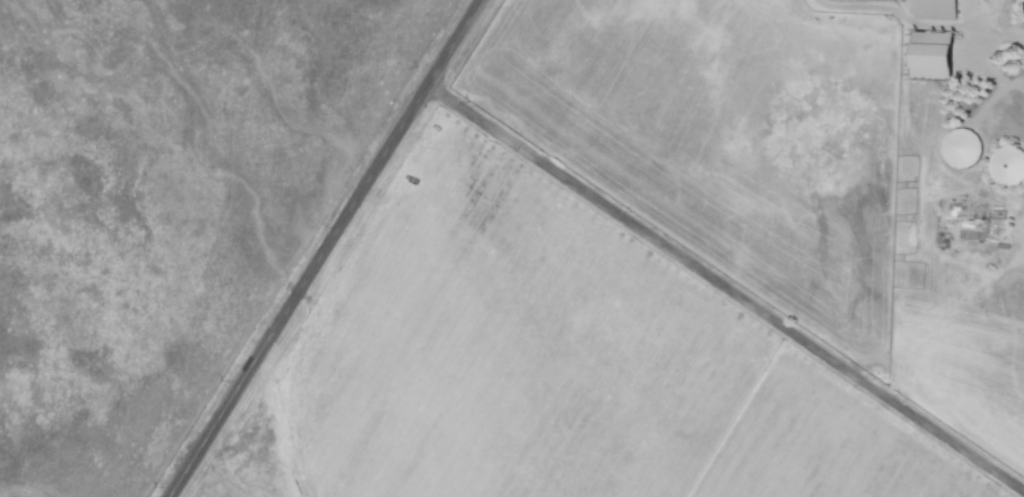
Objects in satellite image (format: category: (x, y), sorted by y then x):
building: (934, 10)
building: (932, 55)
building: (960, 148)
building: (1007, 164)
road: (325, 249)
road: (725, 289)

